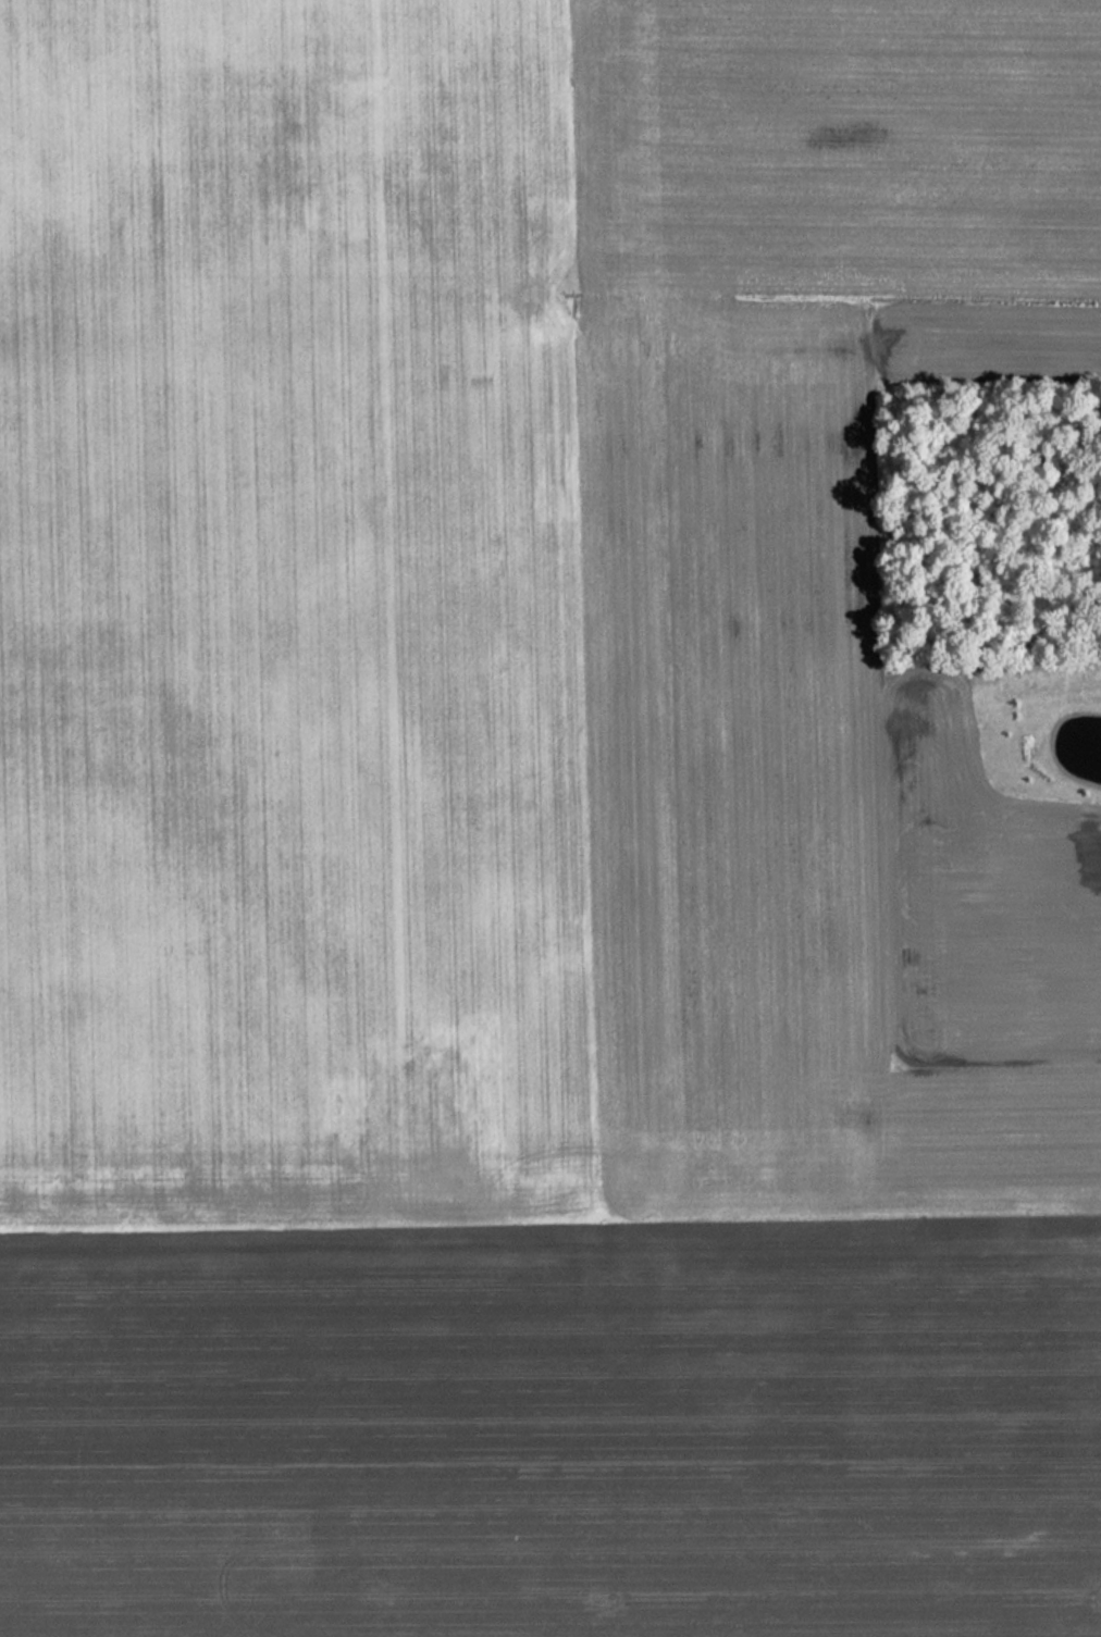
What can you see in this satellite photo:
crop: (836, 146)
crop: (288, 618)
crop: (665, 1152)

